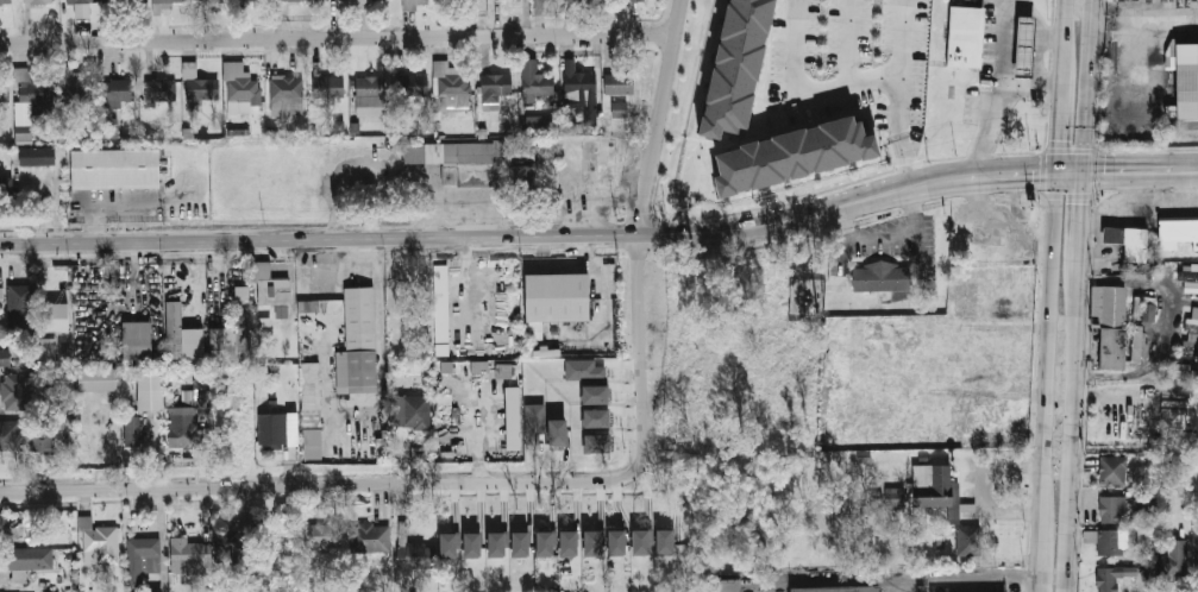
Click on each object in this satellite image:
building: (81, 0)
building: (250, 0)
building: (296, 0)
building: (641, 0)
building: (5, 1)
building: (38, 1)
building: (208, 1)
road: (1067, 2)
building: (125, 4)
building: (161, 5)
building: (421, 5)
road: (1008, 10)
building: (965, 36)
road: (337, 37)
road: (847, 42)
building: (1022, 46)
gas station: (1022, 46)
building: (733, 68)
road: (901, 68)
building: (1185, 80)
building: (534, 81)
road: (1094, 82)
building: (619, 83)
road: (1060, 84)
building: (328, 86)
building: (413, 86)
building: (73, 87)
road: (809, 87)
building: (451, 88)
building: (494, 88)
building: (244, 89)
building: (118, 90)
building: (161, 90)
building: (202, 90)
building: (581, 90)
building: (4, 92)
building: (287, 93)
building: (370, 96)
road: (1001, 100)
building: (27, 102)
building: (619, 109)
building: (538, 122)
building: (109, 124)
traffic signals: (1058, 133)
building: (450, 149)
building: (36, 157)
building: (790, 157)
road: (905, 158)
building: (115, 164)
road: (1143, 164)
road: (1072, 165)
traffic signals: (1108, 165)
traffic signals: (1035, 166)
road: (984, 170)
building: (521, 178)
building: (6, 191)
road: (874, 191)
traffic signals: (1089, 197)
building: (1178, 228)
road: (889, 234)
road: (421, 235)
building: (1130, 238)
road: (1086, 244)
road: (639, 246)
building: (1188, 272)
building: (883, 276)
building: (271, 290)
building: (557, 295)
building: (1111, 301)
building: (20, 309)
building: (1144, 310)
building: (441, 311)
building: (52, 317)
building: (1193, 320)
building: (262, 321)
road: (1162, 325)
building: (233, 333)
building: (181, 334)
road: (1049, 339)
building: (360, 340)
building: (137, 341)
building: (1137, 344)
building: (1115, 345)
building: (45, 348)
building: (64, 349)
building: (1190, 349)
building: (4, 355)
building: (49, 363)
building: (449, 371)
building: (481, 371)
building: (583, 371)
building: (1181, 371)
building: (504, 373)
building: (98, 379)
building: (13, 390)
building: (149, 390)
building: (197, 392)
building: (595, 395)
building: (313, 408)
building: (409, 411)
building: (595, 418)
building: (514, 422)
building: (534, 423)
building: (183, 428)
building: (272, 429)
building: (132, 433)
building: (557, 433)
building: (10, 435)
building: (42, 436)
building: (597, 443)
road: (1075, 456)
building: (1114, 470)
road: (305, 484)
road: (989, 485)
building: (942, 487)
building: (1111, 510)
building: (326, 536)
building: (369, 539)
building: (233, 540)
building: (967, 540)
building: (1109, 541)
building: (98, 542)
building: (665, 542)
building: (546, 543)
building: (592, 543)
building: (616, 543)
building: (639, 543)
building: (450, 544)
building: (496, 544)
building: (520, 544)
building: (569, 544)
building: (472, 546)
building: (412, 553)
road: (1041, 553)
building: (188, 558)
building: (1173, 558)
building: (142, 560)
building: (29, 561)
road: (964, 574)
road: (828, 578)
building: (1108, 579)
building: (726, 586)
building: (838, 590)

